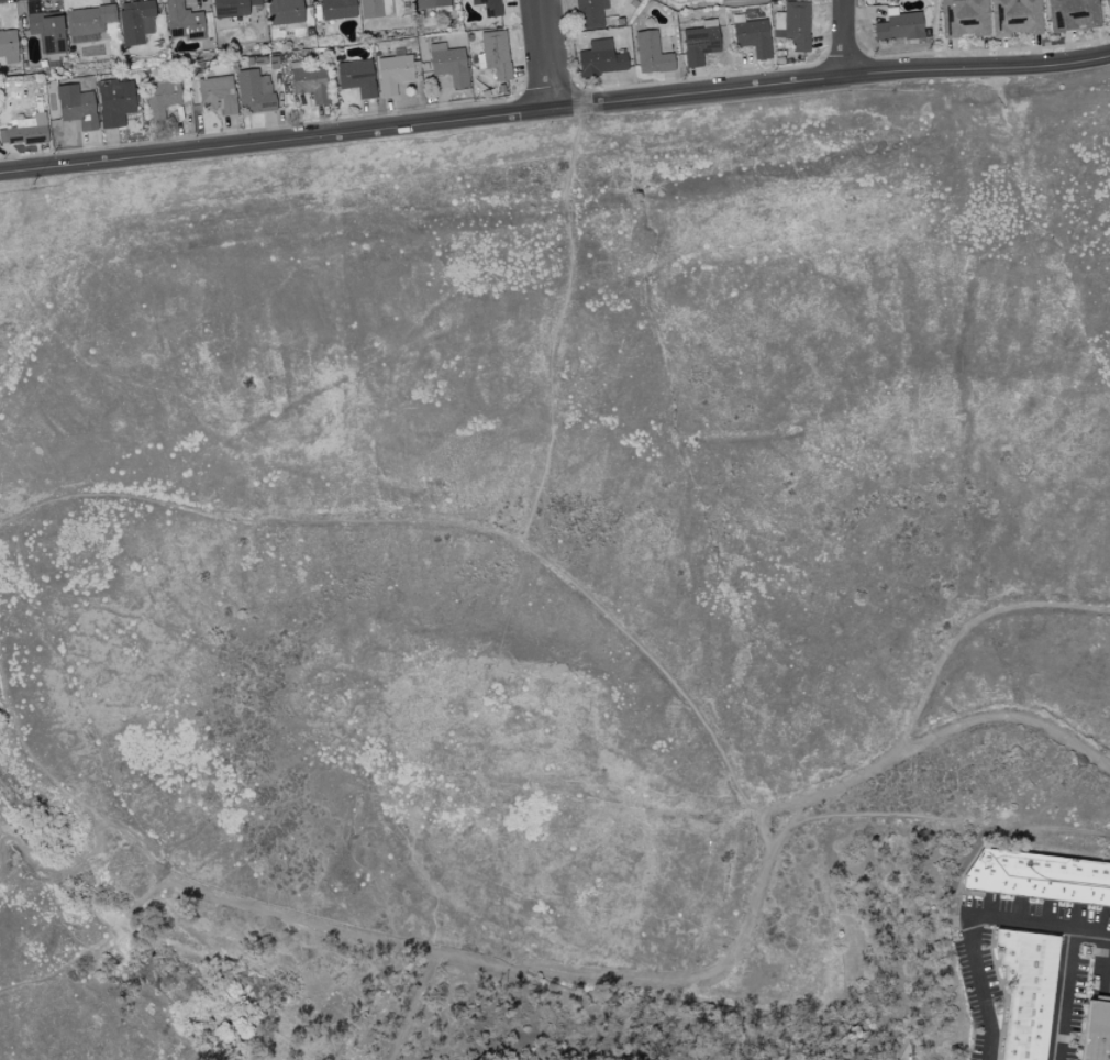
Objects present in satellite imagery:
building: (1108, 4)
building: (429, 5)
building: (490, 7)
building: (233, 8)
building: (376, 8)
building: (338, 9)
building: (286, 12)
building: (590, 13)
building: (1075, 14)
building: (1018, 16)
building: (966, 18)
building: (137, 21)
building: (185, 21)
building: (89, 23)
building: (795, 25)
building: (900, 25)
building: (48, 31)
building: (753, 35)
road: (842, 37)
building: (701, 43)
building: (9, 46)
building: (497, 54)
building: (653, 54)
road: (543, 55)
building: (602, 58)
building: (449, 64)
building: (396, 73)
building: (357, 77)
road: (830, 77)
building: (310, 81)
building: (256, 91)
building: (219, 93)
building: (163, 96)
building: (116, 102)
building: (78, 107)
building: (26, 131)
road: (275, 142)
road: (972, 625)
road: (763, 811)
road: (1, 828)
building: (1039, 877)
road: (968, 919)
road: (95, 949)
road: (567, 972)
building: (1026, 992)
road: (1061, 995)
building: (1096, 1031)

